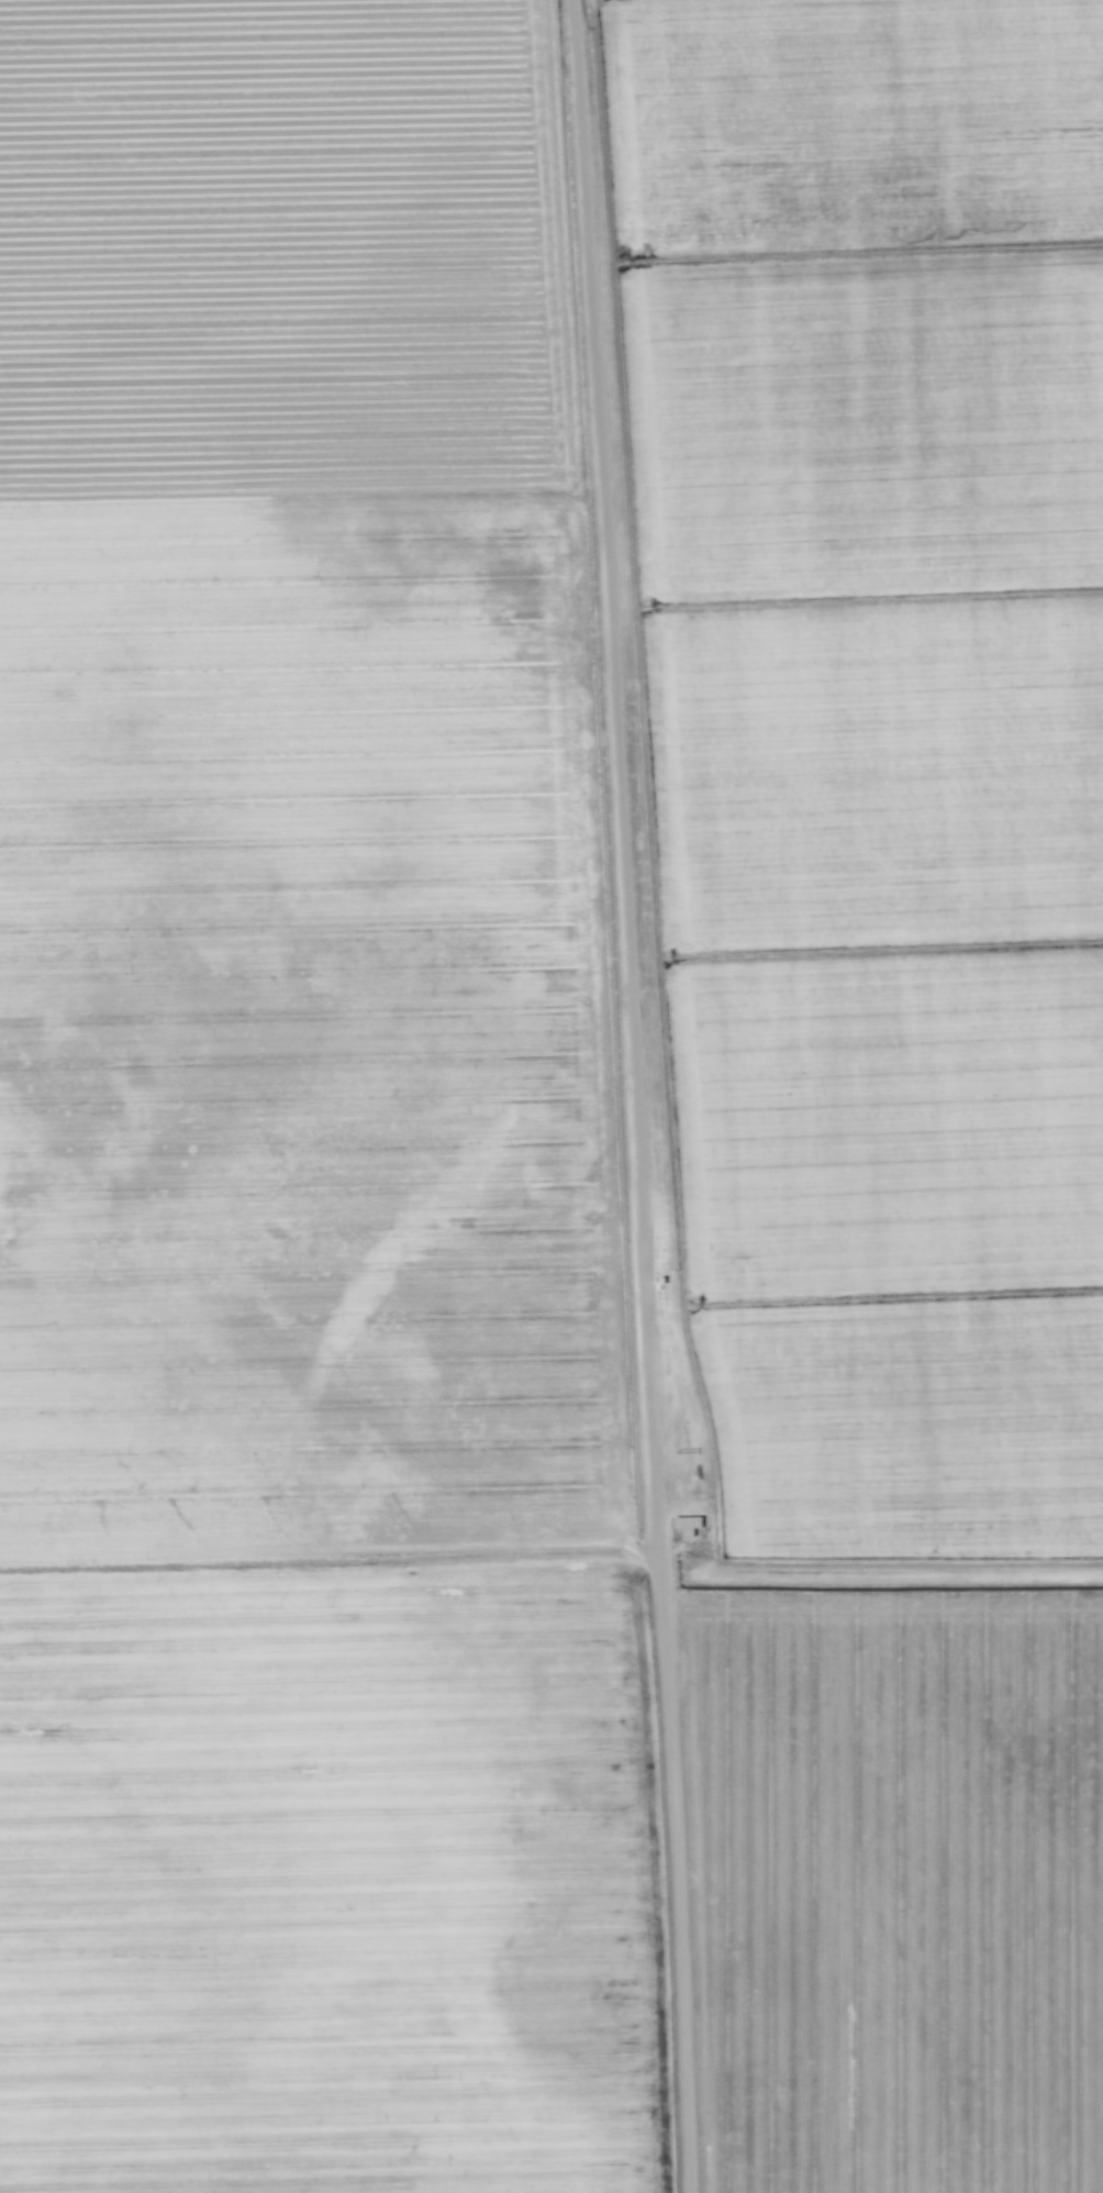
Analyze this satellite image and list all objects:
airport runway: (611, 782)
airport hangar: (687, 1524)
building: (687, 1524)
road: (671, 1878)

